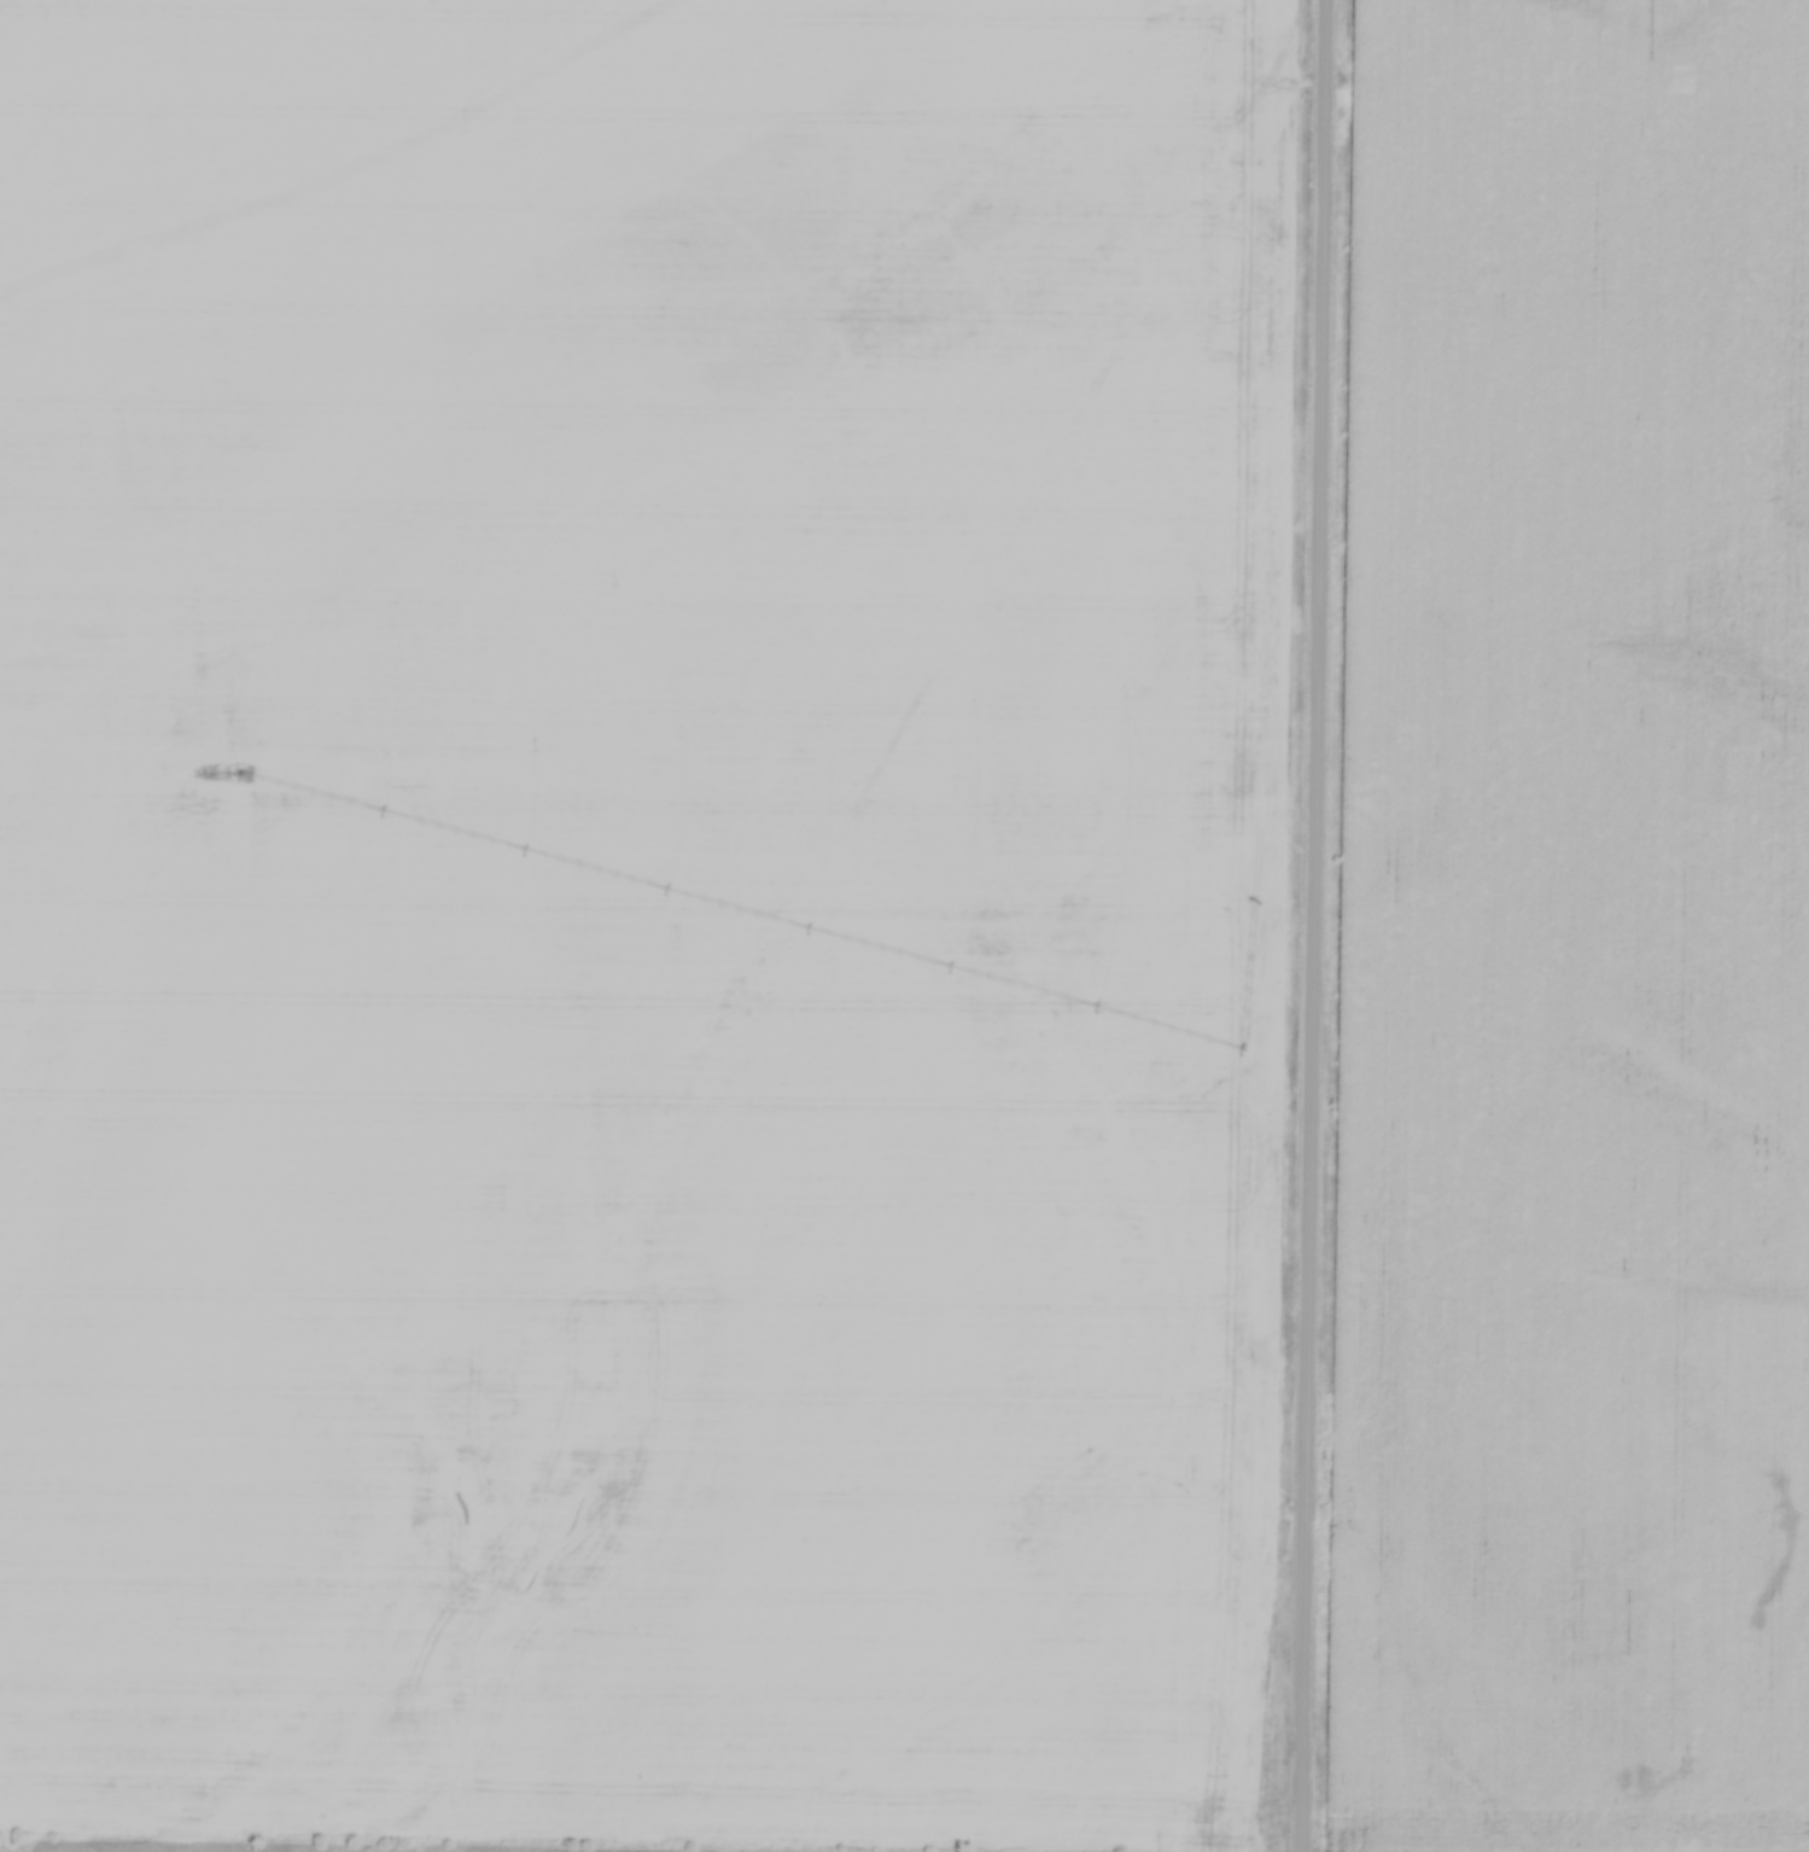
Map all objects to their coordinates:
road: (1309, 926)

